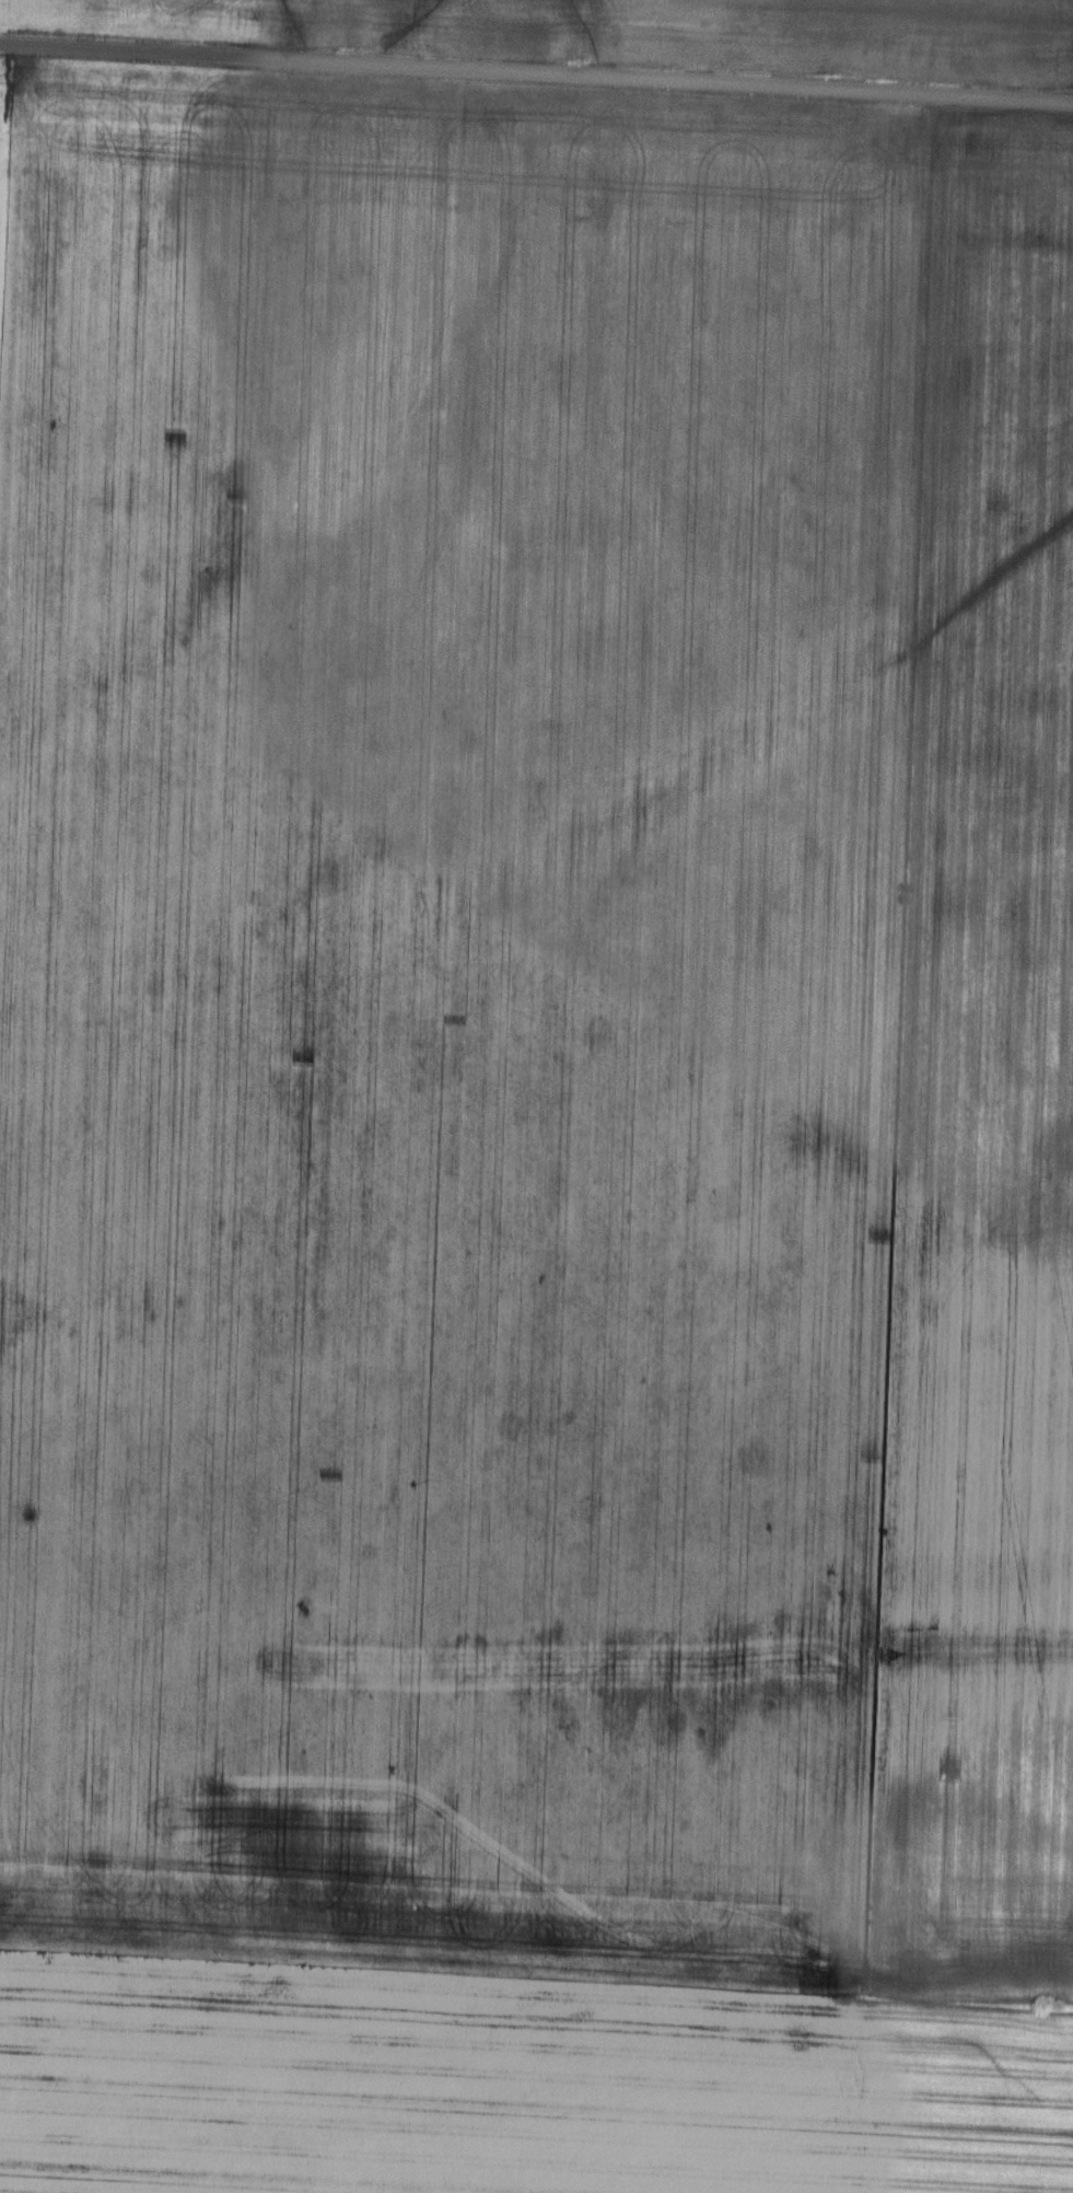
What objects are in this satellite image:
road: (536, 71)
road: (536, 1982)

